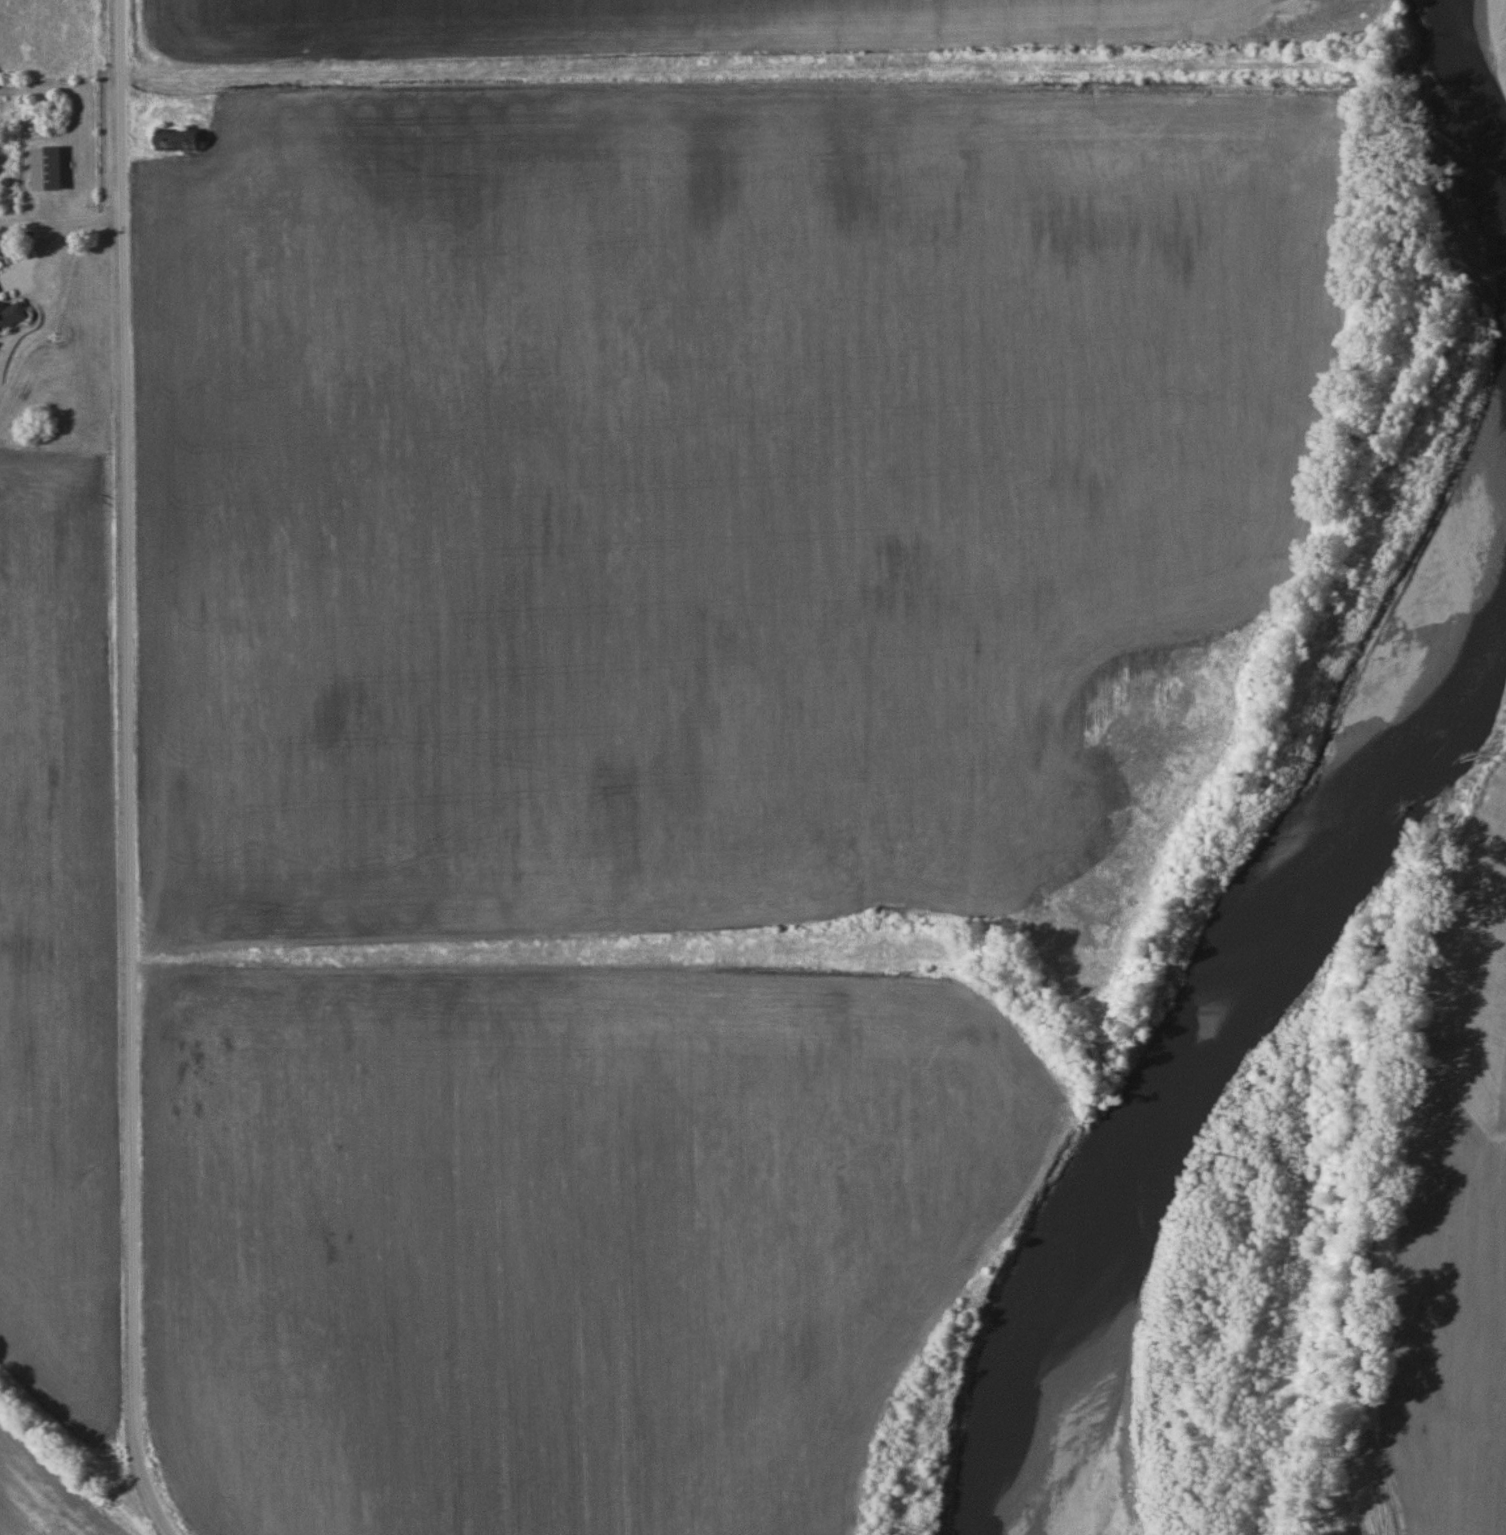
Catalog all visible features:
road: (734, 80)
building: (43, 168)
road: (61, 222)
building: (9, 317)
road: (128, 770)

